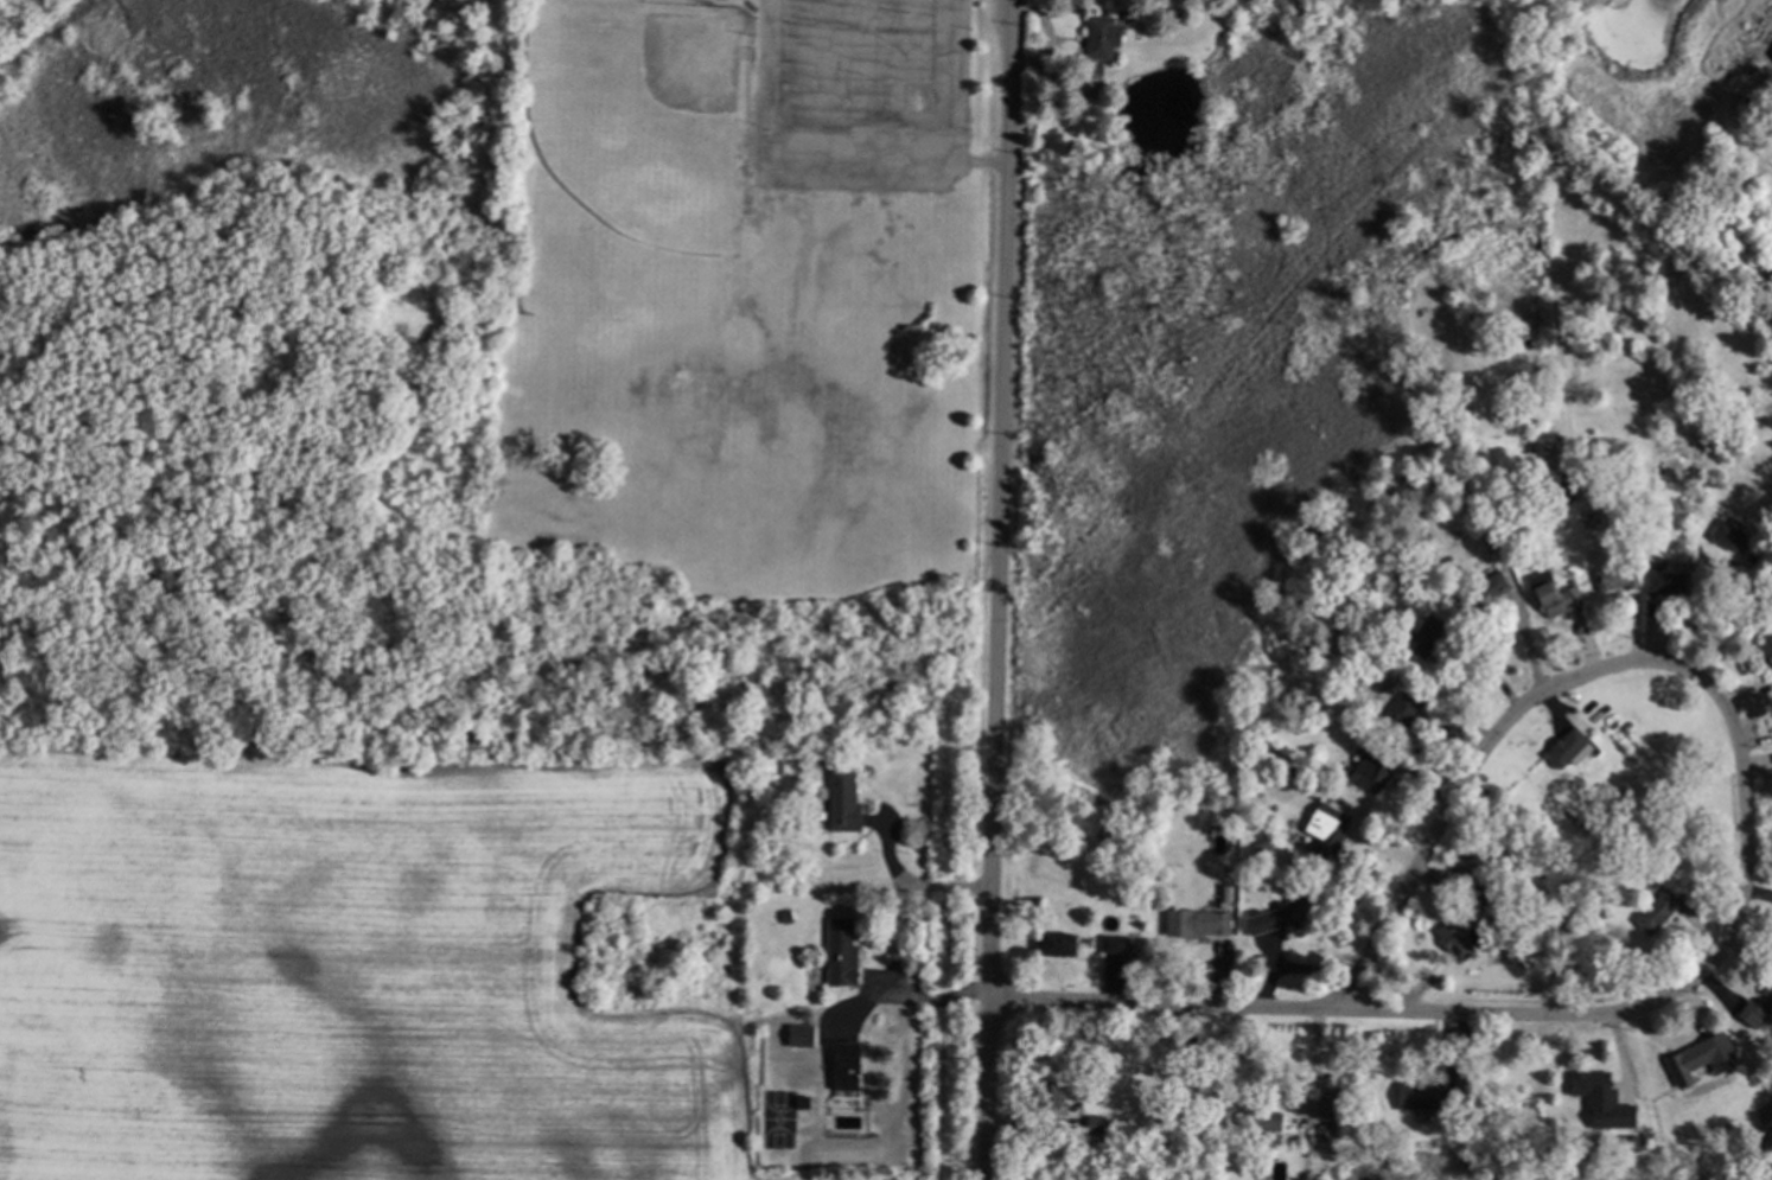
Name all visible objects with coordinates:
building: (1178, 9)
building: (1103, 43)
road: (828, 77)
road: (890, 78)
road: (943, 79)
park: (648, 115)
road: (815, 153)
park: (582, 291)
building: (1672, 472)
building: (1544, 476)
building: (1433, 480)
building: (1594, 521)
building: (1732, 537)
building: (1494, 542)
building: (1453, 574)
building: (1618, 576)
building: (1669, 582)
road: (996, 589)
building: (1490, 591)
building: (1557, 599)
building: (1426, 637)
building: (1767, 649)
building: (1371, 661)
building: (1403, 714)
building: (1570, 748)
building: (784, 765)
building: (1375, 771)
road: (1470, 772)
building: (846, 799)
building: (1619, 803)
building: (1172, 808)
building: (1331, 829)
building: (1123, 868)
building: (1567, 880)
road: (910, 886)
building: (1486, 899)
building: (1661, 911)
building: (1607, 914)
building: (789, 917)
building: (1283, 917)
building: (1200, 924)
building: (1461, 937)
building: (1117, 944)
building: (1063, 946)
building: (844, 953)
crop: (358, 965)
road: (910, 997)
road: (1158, 997)
building: (1764, 1012)
building: (1701, 1055)
building: (848, 1065)
building: (1600, 1091)
building: (1053, 1093)
building: (1430, 1096)
road: (1287, 1101)
building: (805, 1102)
building: (1336, 1112)
building: (1264, 1116)
building: (1768, 1117)
building: (1206, 1122)
building: (1099, 1123)
building: (1464, 1135)
building: (1496, 1137)
building: (1714, 1137)
building: (1223, 1171)

